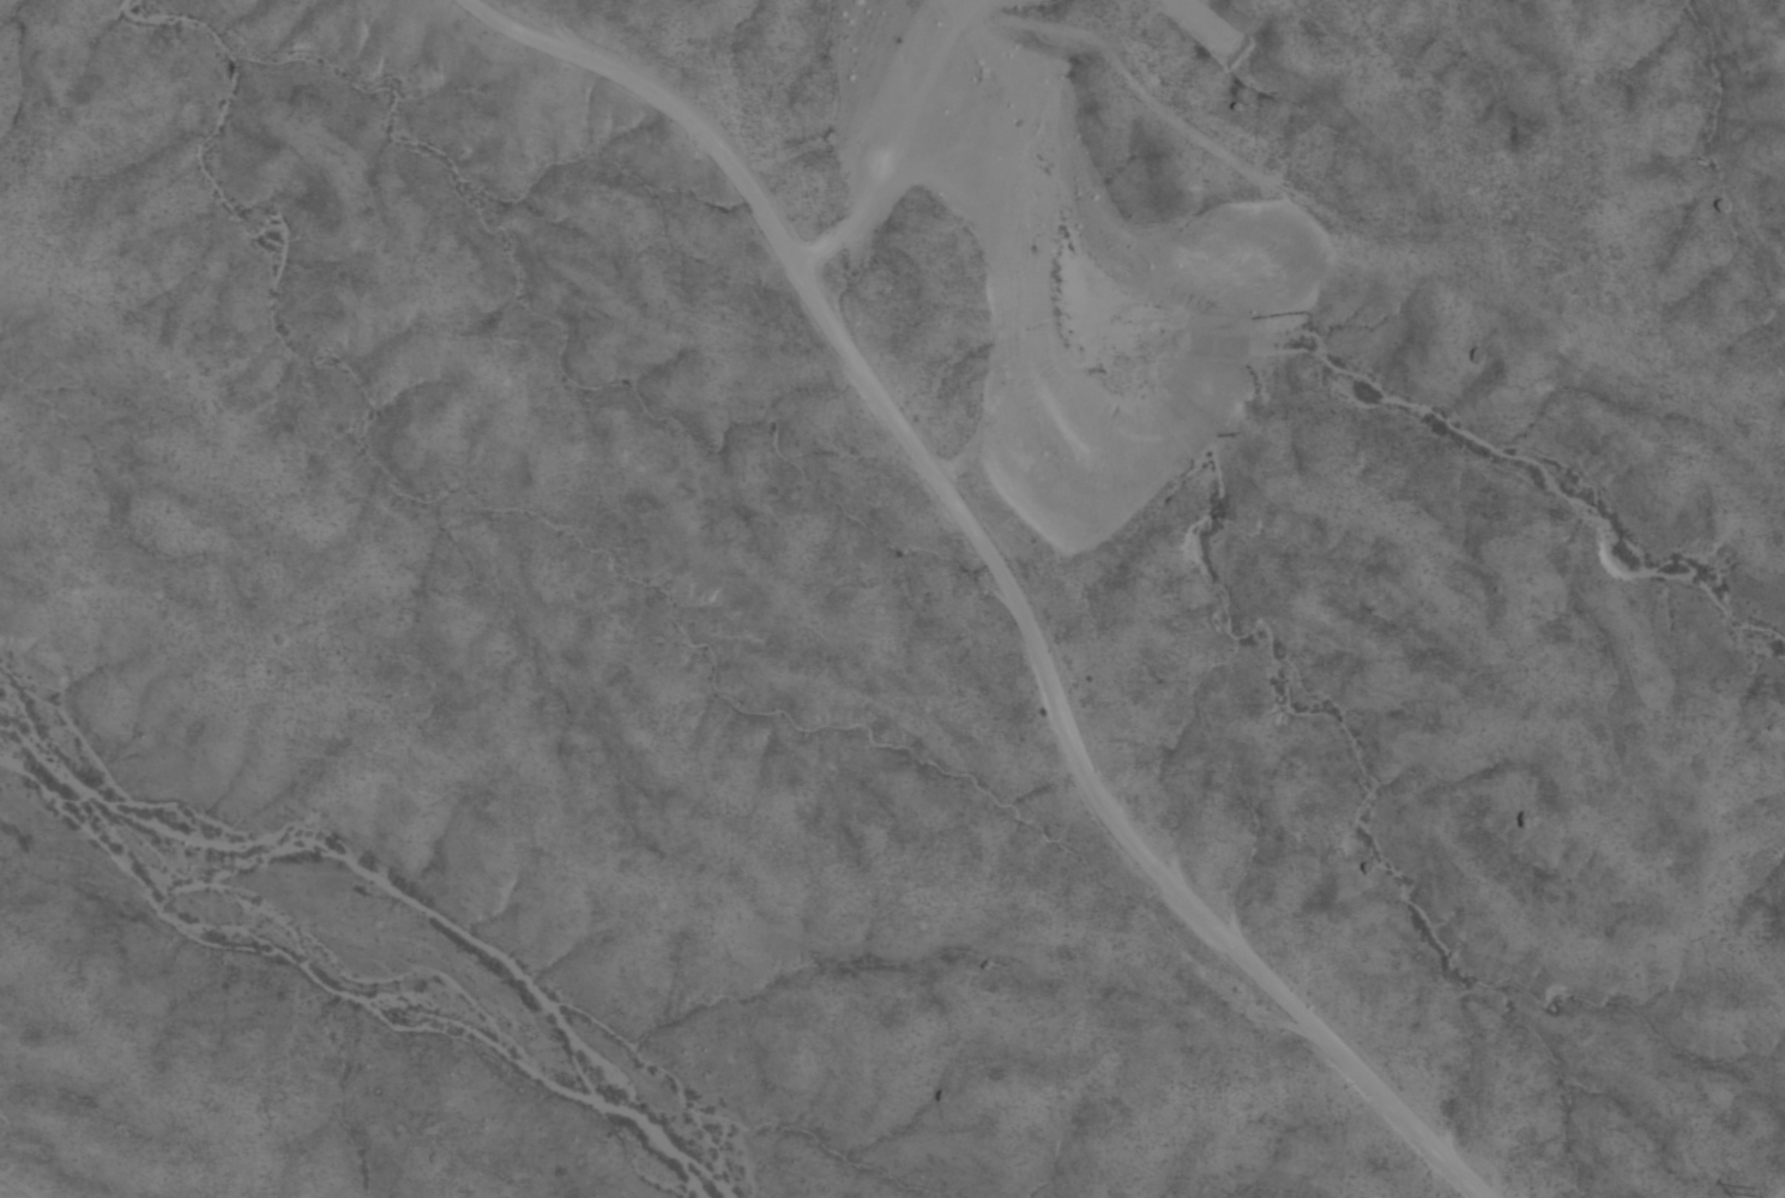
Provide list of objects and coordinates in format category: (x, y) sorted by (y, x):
road: (995, 595)
road: (24, 1182)
power tower: (1769, 1197)

